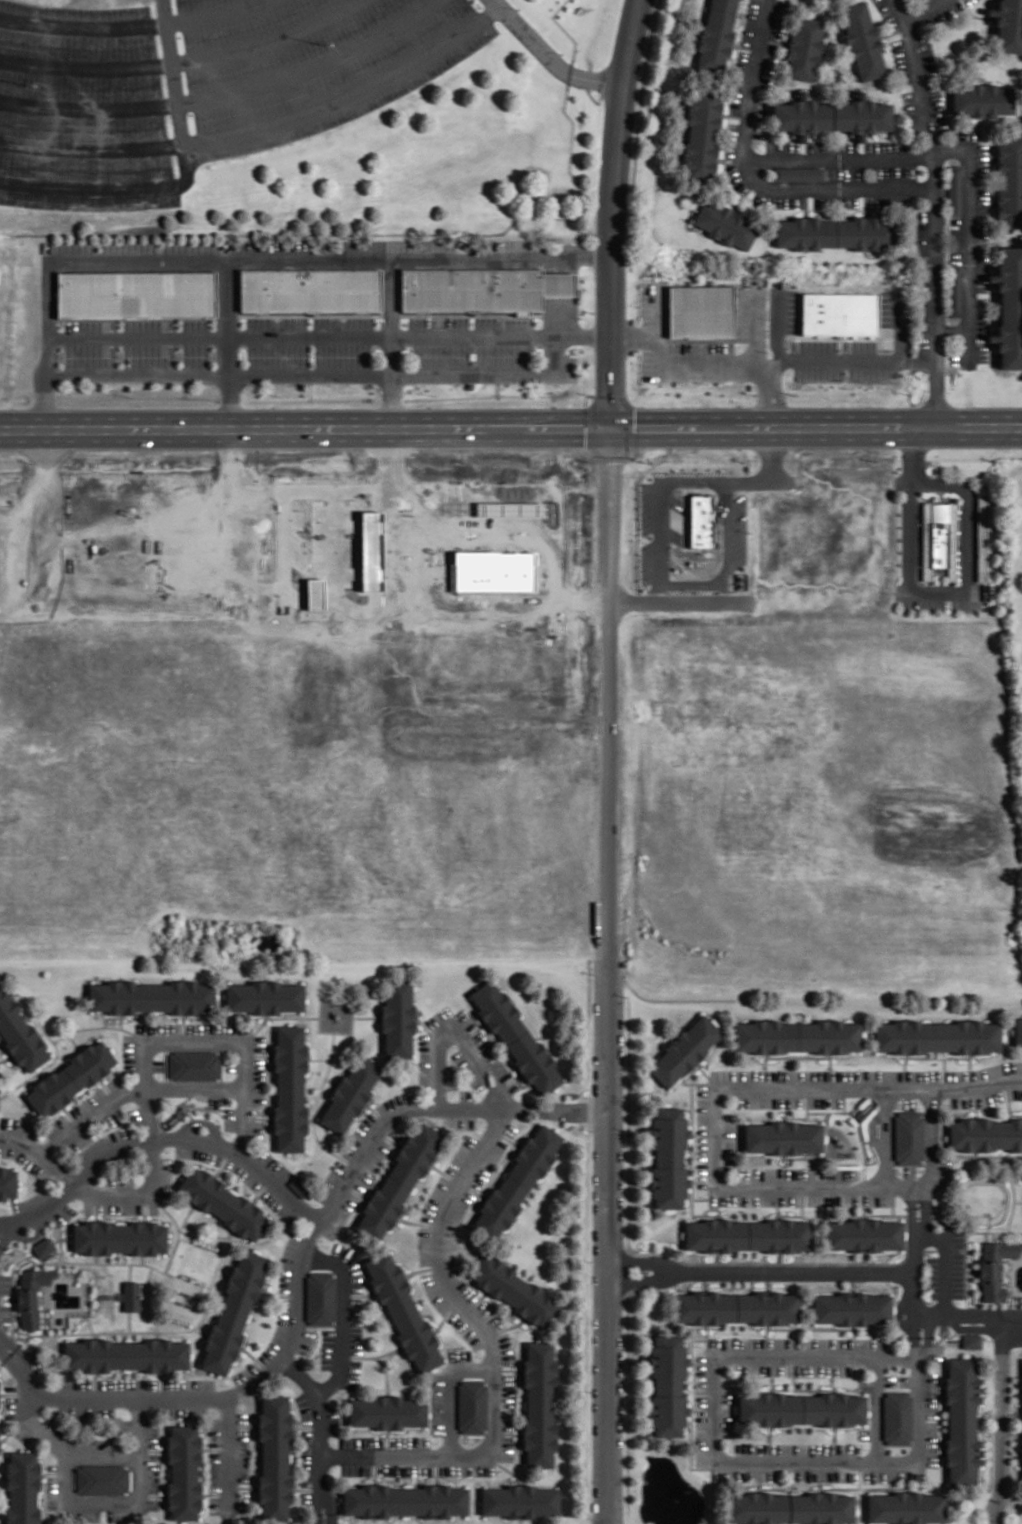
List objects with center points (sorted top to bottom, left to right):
building: (926, 0)
street lamp: (518, 9)
road: (165, 11)
road: (929, 11)
road: (215, 12)
parking lot: (887, 14)
road: (973, 14)
parking lot: (778, 19)
parking lot: (750, 22)
building: (1009, 23)
road: (83, 26)
building: (716, 37)
building: (863, 39)
street lamp: (322, 43)
building: (805, 47)
street lamp: (561, 53)
road: (548, 56)
road: (185, 59)
parking lot: (901, 60)
parking lot: (739, 81)
street lamp: (27, 84)
road: (866, 84)
parking lot: (197, 85)
road: (752, 86)
street lamp: (590, 90)
road: (228, 92)
building: (983, 99)
parking lot: (912, 112)
building: (802, 114)
building: (861, 114)
building: (701, 133)
parking lot: (965, 135)
parking lot: (888, 144)
parking lot: (832, 145)
parking lot: (782, 146)
parking lot: (733, 157)
road: (841, 157)
street lamp: (926, 169)
parking lot: (895, 172)
building: (799, 173)
parking lot: (846, 173)
parking lot: (982, 178)
building: (1010, 179)
road: (173, 184)
building: (955, 186)
road: (841, 188)
street lamp: (752, 190)
parking lot: (778, 200)
parking lot: (890, 200)
parking lot: (836, 201)
road: (938, 210)
road: (609, 212)
building: (724, 224)
parking lot: (923, 231)
building: (805, 232)
building: (864, 232)
parking lot: (956, 240)
road: (969, 240)
parking lot: (130, 246)
parking lot: (192, 246)
parking lot: (270, 246)
parking lot: (72, 247)
parking lot: (982, 251)
road: (899, 255)
road: (245, 258)
parking lot: (923, 271)
parking lot: (982, 287)
building: (481, 288)
building: (955, 288)
building: (309, 289)
building: (136, 292)
street lamp: (979, 293)
building: (1010, 304)
street lamp: (638, 305)
building: (700, 310)
building: (839, 314)
parking lot: (922, 323)
road: (756, 328)
parking lot: (982, 328)
road: (328, 335)
road: (633, 338)
road: (391, 342)
road: (227, 343)
street lamp: (179, 355)
street lamp: (212, 355)
street lamp: (312, 355)
street lamp: (242, 356)
road: (828, 362)
road: (915, 362)
street lamp: (638, 363)
road: (700, 364)
road: (317, 374)
street lamp: (703, 382)
street lamp: (250, 383)
street lamp: (455, 383)
street lamp: (289, 384)
street lamp: (329, 384)
street lamp: (555, 384)
road: (511, 426)
building: (700, 521)
road: (661, 533)
building: (939, 537)
building: (982, 538)
road: (941, 592)
road: (638, 597)
street lamp: (948, 602)
parking lot: (920, 604)
parking lot: (966, 605)
road: (608, 975)
building: (263, 996)
building: (150, 997)
road: (291, 1016)
road: (366, 1016)
parking lot: (438, 1016)
building: (397, 1017)
parking lot: (465, 1018)
road: (105, 1020)
road: (120, 1021)
road: (260, 1024)
road: (100, 1025)
parking lot: (157, 1027)
parking lot: (218, 1028)
road: (350, 1031)
building: (1019, 1031)
building: (19, 1034)
road: (456, 1034)
building: (937, 1035)
building: (792, 1037)
building: (516, 1038)
road: (73, 1040)
road: (200, 1042)
street lamp: (454, 1046)
road: (56, 1048)
building: (679, 1050)
parking lot: (128, 1053)
parking lot: (490, 1054)
road: (4, 1057)
road: (317, 1058)
parking lot: (423, 1060)
parking lot: (230, 1063)
parking lot: (158, 1064)
building: (194, 1065)
parking lot: (467, 1069)
parking lot: (451, 1076)
building: (70, 1078)
road: (133, 1089)
building: (289, 1090)
building: (349, 1094)
parking lot: (465, 1094)
parking lot: (770, 1100)
parking lot: (215, 1101)
parking lot: (394, 1101)
parking lot: (823, 1101)
road: (314, 1106)
road: (202, 1108)
road: (434, 1108)
street lamp: (194, 1110)
road: (375, 1112)
road: (188, 1113)
road: (205, 1113)
parking lot: (133, 1116)
road: (201, 1117)
parking lot: (230, 1118)
street lamp: (481, 1119)
parking lot: (453, 1121)
road: (202, 1122)
parking lot: (17, 1125)
parking lot: (55, 1125)
road: (628, 1125)
parking lot: (256, 1127)
parking lot: (509, 1129)
parking lot: (357, 1134)
building: (985, 1134)
parking lot: (703, 1135)
building: (908, 1136)
road: (387, 1137)
road: (885, 1137)
road: (157, 1138)
building: (778, 1138)
road: (932, 1143)
road: (714, 1144)
street lamp: (166, 1150)
road: (39, 1153)
parking lot: (197, 1153)
parking lot: (460, 1154)
building: (663, 1158)
parking lot: (26, 1160)
parking lot: (273, 1163)
parking lot: (371, 1164)
road: (444, 1172)
parking lot: (242, 1173)
parking lot: (843, 1173)
parking lot: (118, 1179)
parking lot: (164, 1179)
parking lot: (330, 1179)
building: (398, 1181)
building: (6, 1182)
building: (517, 1182)
building: (300, 1185)
road: (260, 1188)
road: (135, 1192)
parking lot: (434, 1198)
parking lot: (31, 1200)
building: (222, 1202)
parking lot: (118, 1207)
parking lot: (152, 1208)
parking lot: (339, 1214)
road: (185, 1217)
street lamp: (936, 1221)
road: (417, 1222)
parking lot: (945, 1222)
road: (177, 1226)
building: (863, 1233)
road: (34, 1235)
building: (741, 1235)
building: (119, 1239)
road: (588, 1241)
road: (255, 1242)
street lamp: (326, 1244)
parking lot: (425, 1245)
building: (42, 1247)
street lamp: (932, 1251)
road: (99, 1262)
road: (646, 1262)
parking lot: (348, 1264)
building: (994, 1266)
road: (422, 1268)
road: (798, 1271)
parking lot: (931, 1276)
road: (646, 1278)
parking lot: (4, 1284)
road: (11, 1287)
building: (514, 1290)
parking lot: (434, 1292)
building: (131, 1294)
building: (30, 1295)
road: (357, 1295)
building: (320, 1298)
road: (476, 1301)
building: (853, 1307)
building: (732, 1309)
building: (403, 1311)
parking lot: (4, 1312)
building: (233, 1312)
parking lot: (490, 1314)
road: (445, 1316)
road: (969, 1316)
road: (341, 1317)
parking lot: (355, 1325)
road: (505, 1328)
road: (168, 1329)
parking lot: (466, 1330)
road: (913, 1334)
road: (927, 1337)
building: (971, 1339)
parking lot: (305, 1340)
parking lot: (801, 1342)
parking lot: (505, 1347)
parking lot: (327, 1348)
road: (492, 1351)
building: (126, 1355)
road: (371, 1355)
parking lot: (459, 1355)
street lamp: (480, 1355)
road: (387, 1357)
parking lot: (797, 1368)
road: (507, 1369)
road: (385, 1370)
parking lot: (701, 1373)
parking lot: (351, 1374)
street lamp: (286, 1378)
parking lot: (889, 1379)
parking lot: (903, 1379)
street lamp: (43, 1384)
parking lot: (125, 1384)
parking lot: (189, 1384)
street lamp: (226, 1385)
building: (662, 1385)
street lamp: (341, 1391)
parking lot: (930, 1393)
road: (451, 1394)
road: (203, 1399)
parking lot: (438, 1403)
building: (538, 1405)
parking lot: (10, 1406)
building: (472, 1407)
building: (801, 1408)
parking lot: (727, 1409)
road: (875, 1409)
parking lot: (85, 1411)
building: (387, 1412)
parking lot: (241, 1416)
building: (897, 1417)
building: (962, 1418)
parking lot: (333, 1419)
road: (1000, 1421)
road: (239, 1425)
road: (306, 1426)
parking lot: (702, 1430)
parking lot: (215, 1431)
road: (320, 1432)
parking lot: (22, 1434)
parking lot: (80, 1438)
parking lot: (360, 1440)
parking lot: (409, 1440)
street lamp: (435, 1441)
street lamp: (334, 1442)
road: (215, 1448)
parking lot: (797, 1448)
road: (150, 1449)
road: (66, 1452)
road: (228, 1452)
parking lot: (241, 1454)
building: (274, 1456)
road: (718, 1456)
parking lot: (307, 1457)
parking lot: (51, 1466)
parking lot: (356, 1468)
parking lot: (467, 1468)
parking lot: (216, 1470)
parking lot: (152, 1472)
building: (183, 1472)
building: (102, 1478)
road: (241, 1486)
building: (22, 1488)
road: (306, 1488)
parking lot: (51, 1491)
road: (214, 1493)
road: (149, 1494)
parking lot: (306, 1496)
road: (127, 1501)
parking lot: (242, 1501)
building: (404, 1501)
building: (521, 1501)
parking lot: (152, 1503)
parking lot: (215, 1504)
building: (905, 1507)
building: (788, 1508)
street lamp: (103, 1513)
parking lot: (78, 1514)
parking lot: (126, 1515)
parking lot: (228, 1519)
street lamp: (324, 1519)

